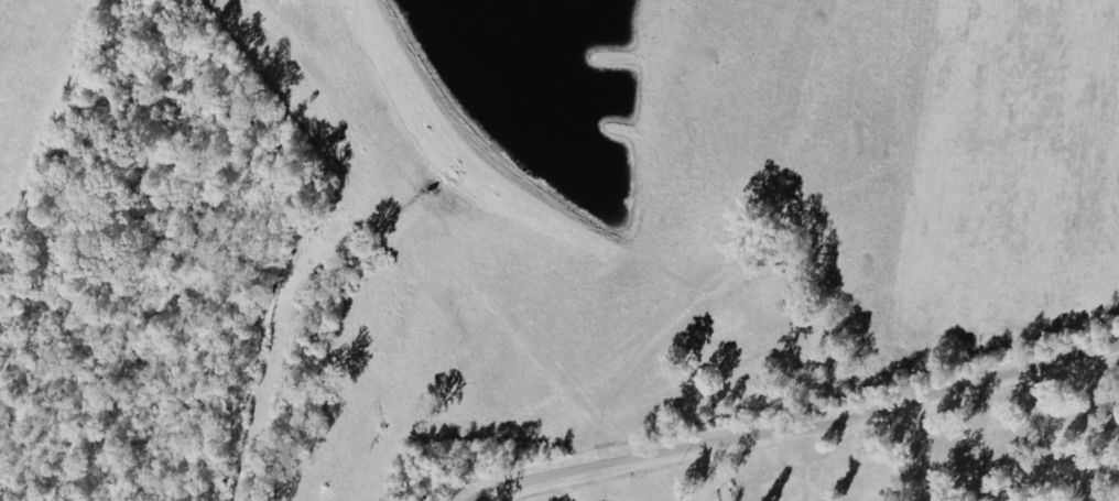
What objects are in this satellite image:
road: (796, 428)
road: (892, 453)
road: (717, 471)
road: (488, 495)

